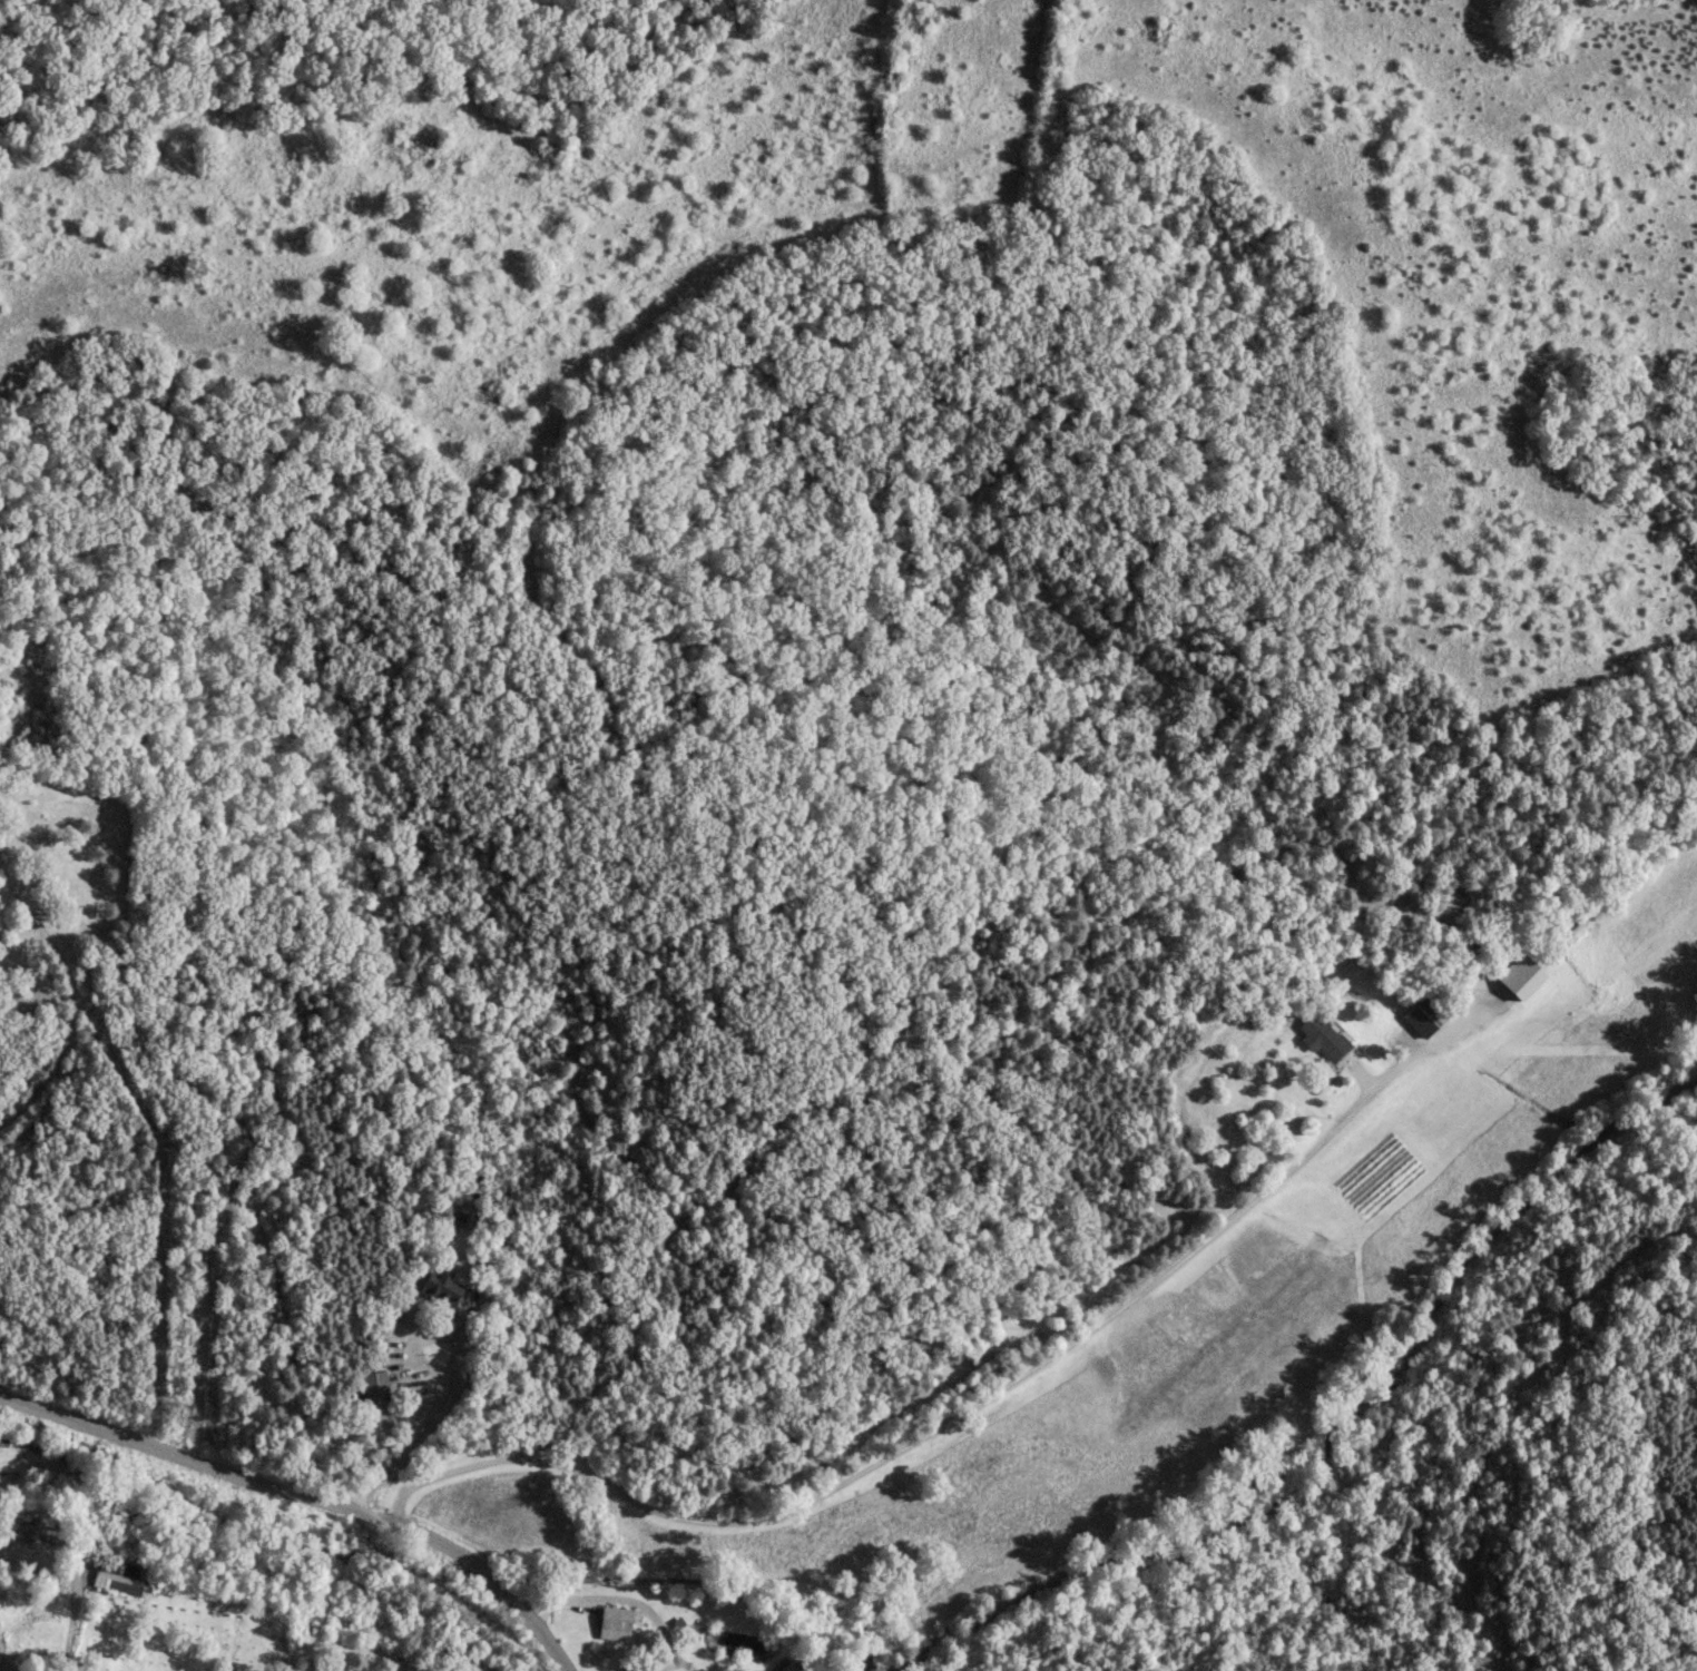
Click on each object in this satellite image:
building: (1517, 976)
road: (67, 995)
building: (1323, 1034)
building: (442, 1285)
building: (375, 1384)
road: (977, 1400)
road: (425, 1427)
road: (306, 1495)
building: (615, 1621)
building: (785, 1664)
building: (630, 1667)
road: (4, 1668)

